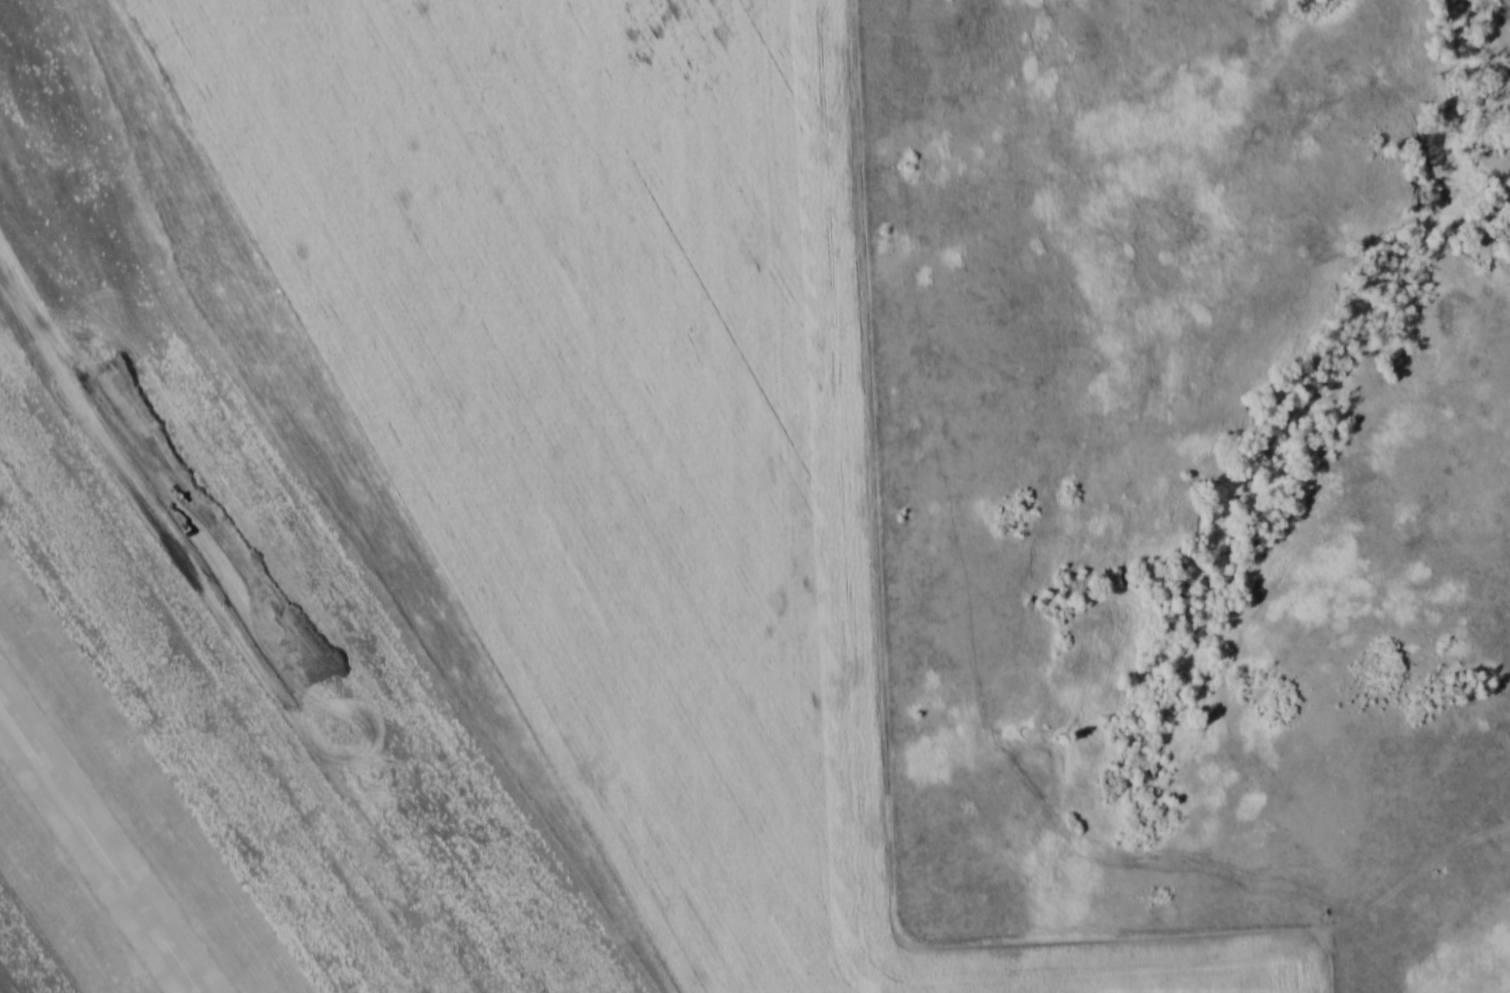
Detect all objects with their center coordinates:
airport runway: (100, 847)

